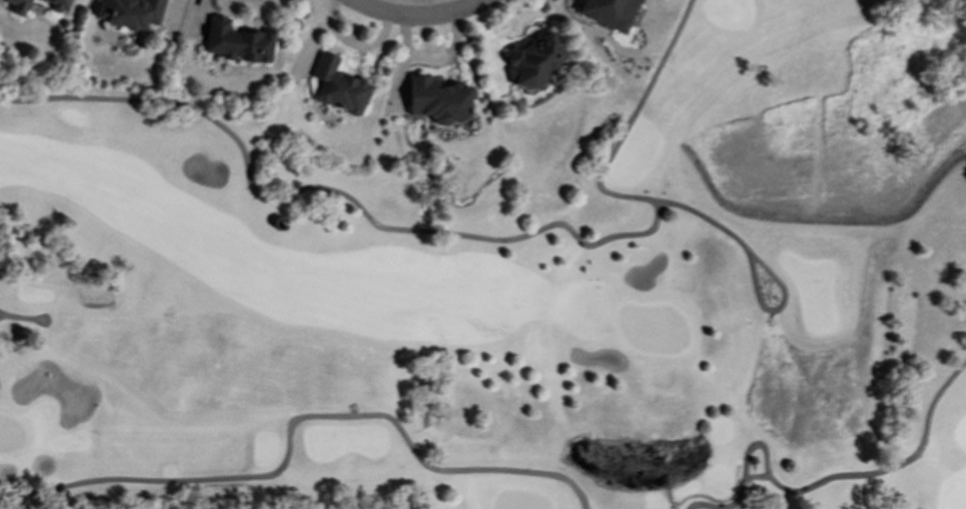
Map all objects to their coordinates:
building: (57, 4)
building: (20, 7)
building: (132, 13)
building: (610, 13)
road: (424, 14)
building: (239, 43)
building: (535, 60)
building: (440, 101)
road: (632, 120)
road: (365, 214)
park: (509, 292)
road: (778, 309)
road: (22, 317)
road: (294, 421)
road: (842, 477)
road: (701, 507)

